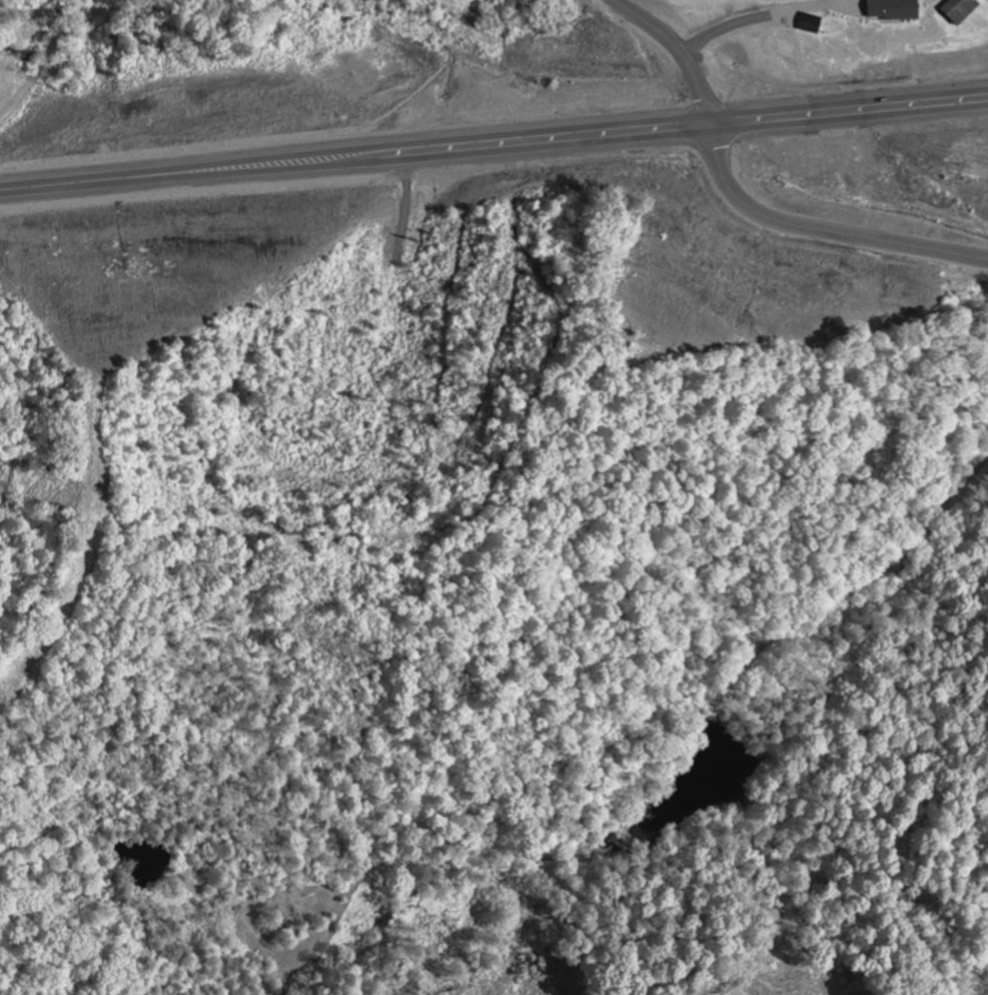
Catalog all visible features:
building: (896, 10)
building: (961, 10)
building: (811, 24)
road: (493, 138)
road: (742, 202)

